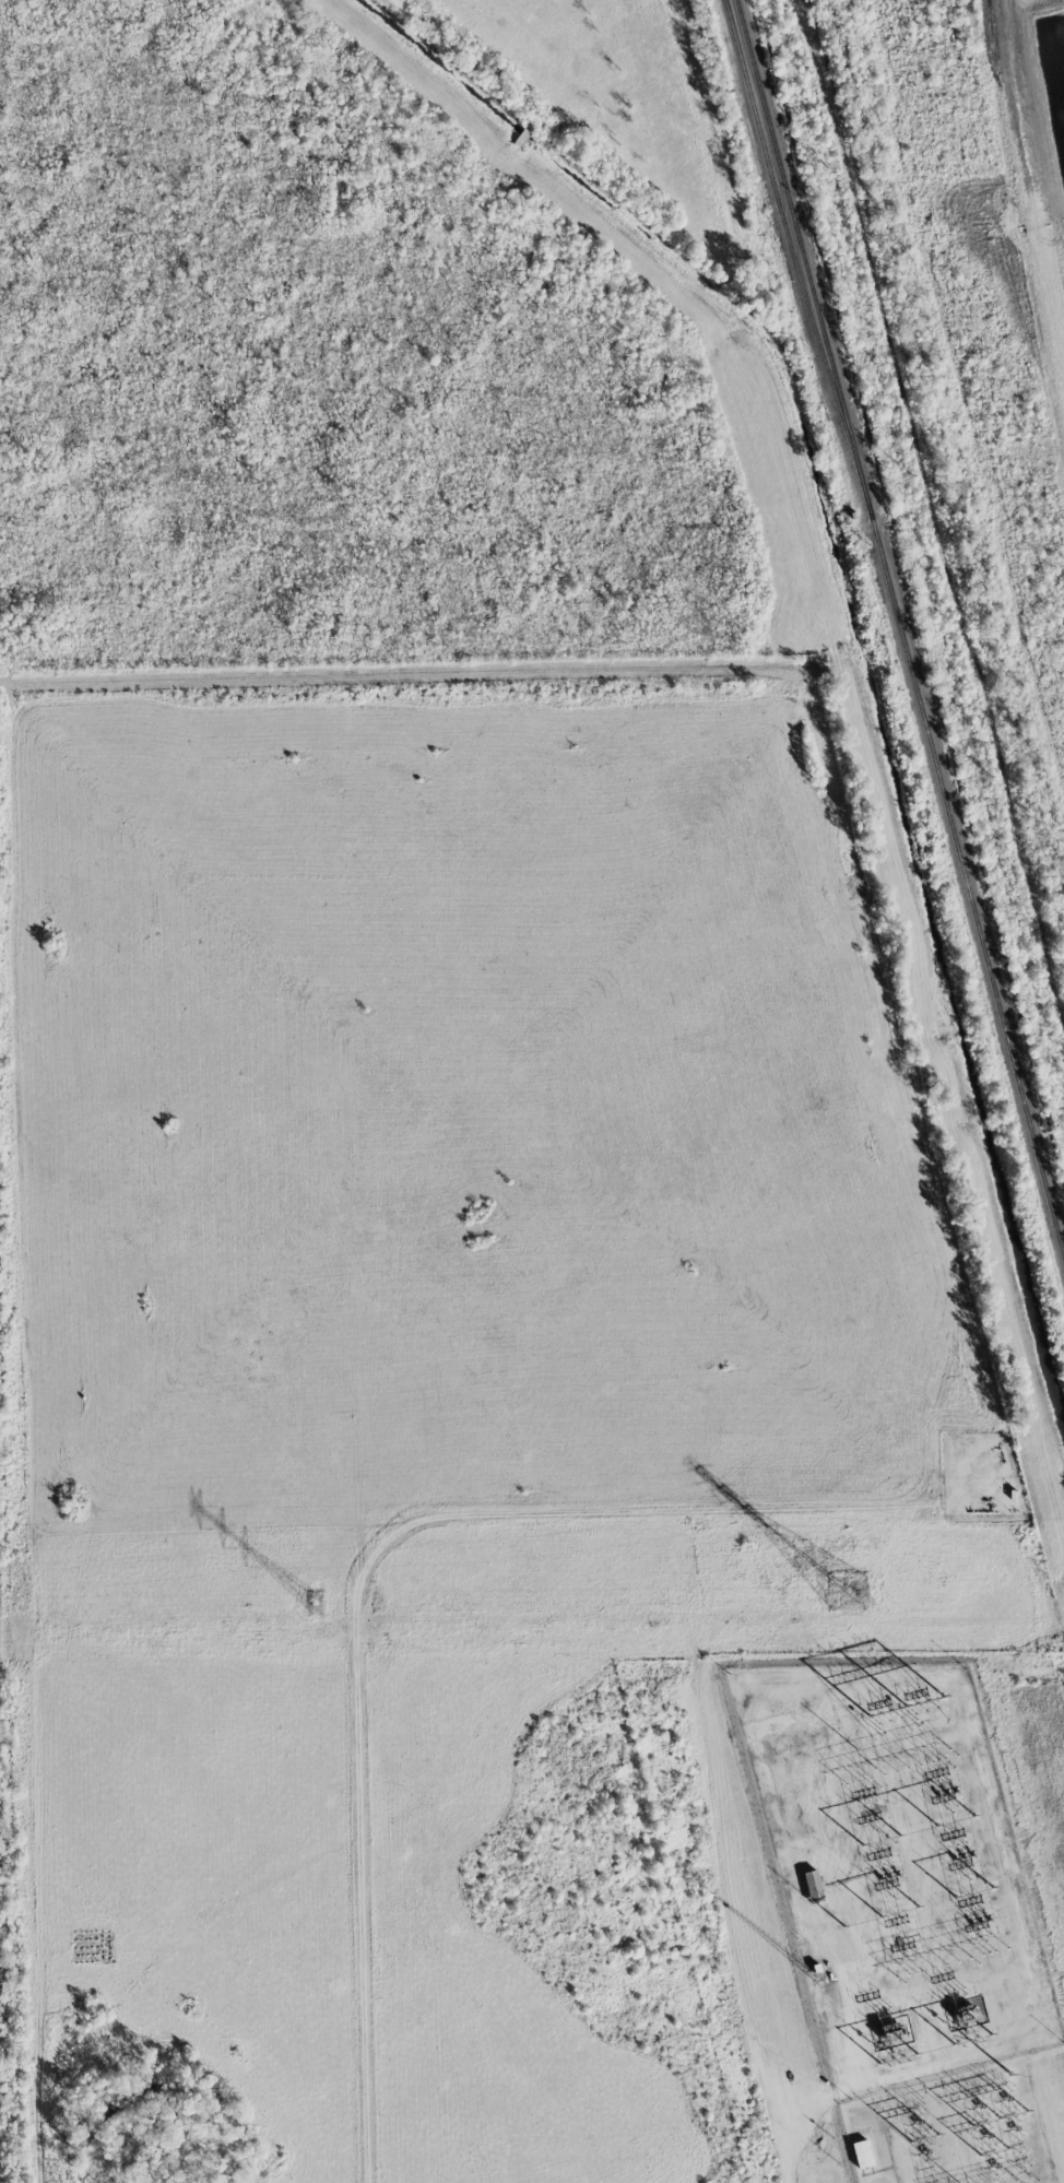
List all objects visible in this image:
power tower: (829, 164)
railway: (782, 219)
power tower: (908, 467)
railway: (900, 633)
power tower: (985, 763)
power tower: (1063, 1069)
road: (360, 1579)
power tower: (848, 1593)
power tower: (314, 1605)
power substation: (895, 1871)
building: (814, 1886)
power tower: (1008, 2075)
power substation: (966, 2126)
building: (862, 2153)

